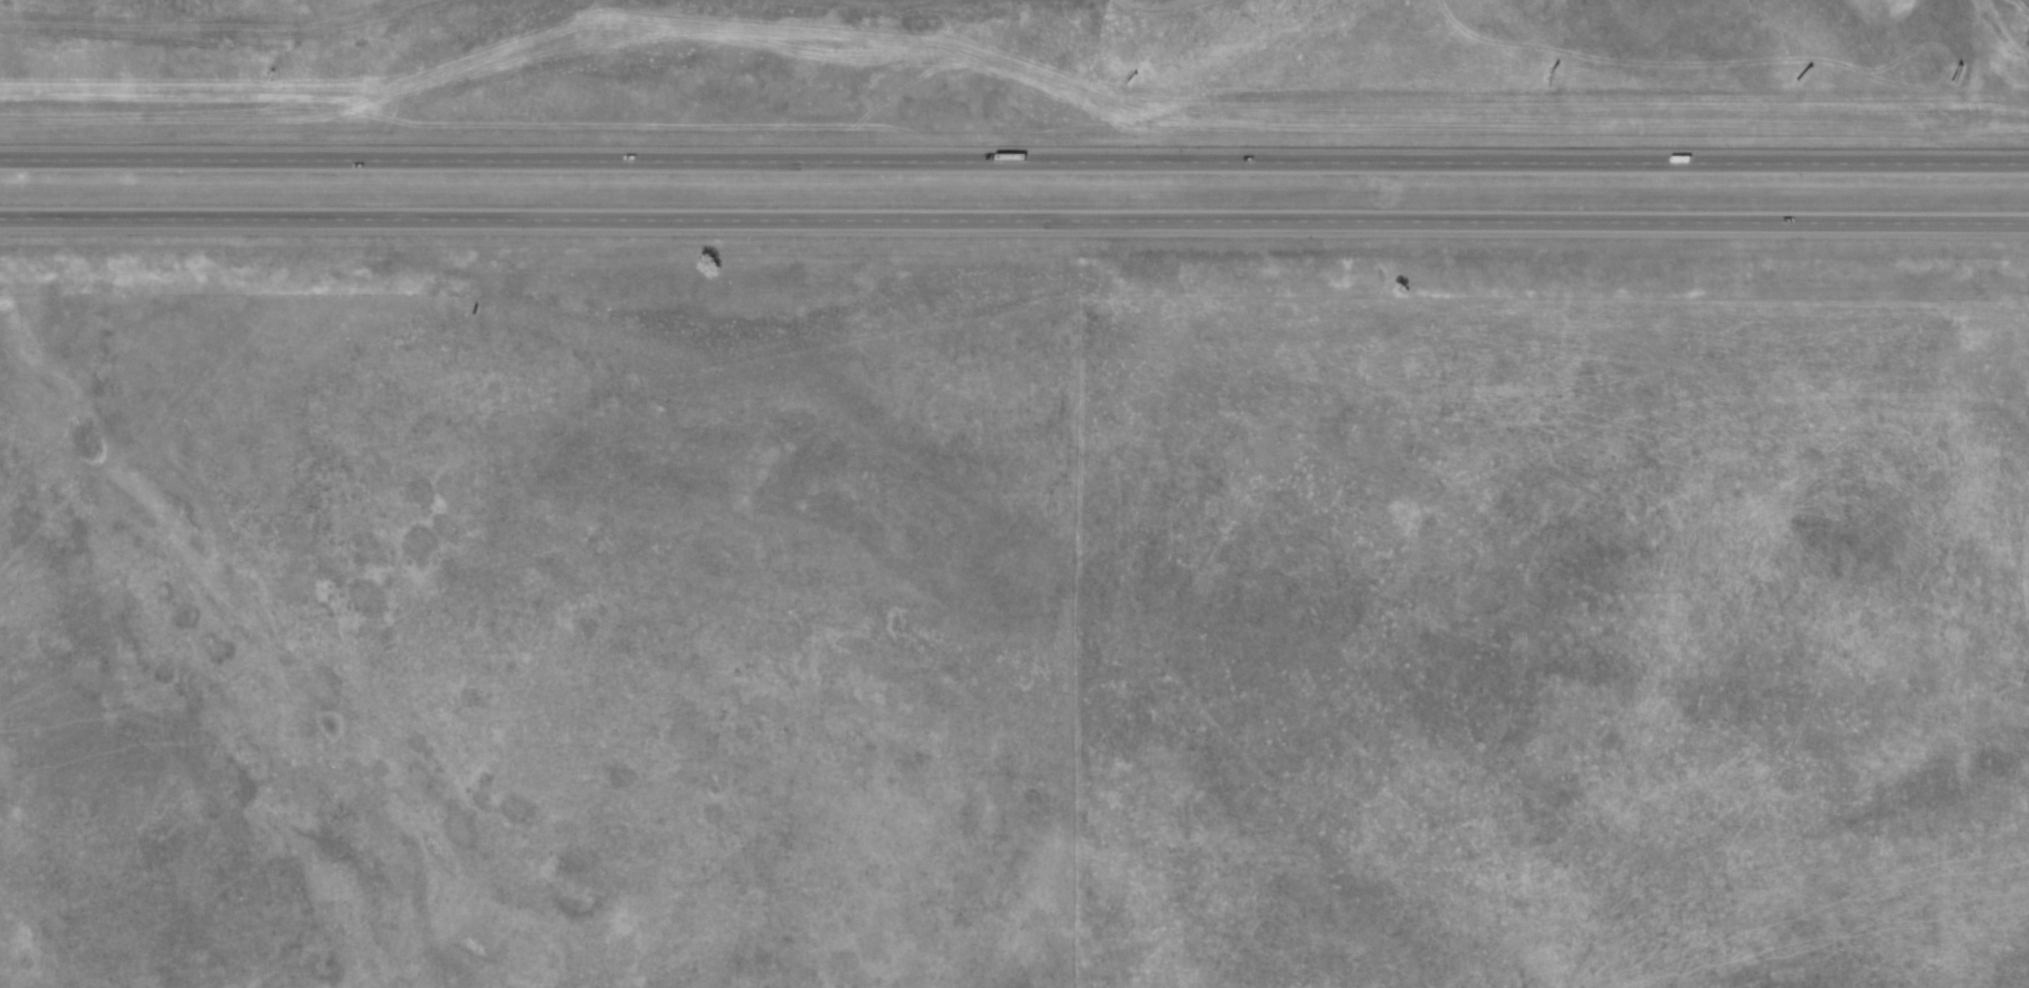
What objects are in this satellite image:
road: (1014, 160)
road: (1014, 221)

